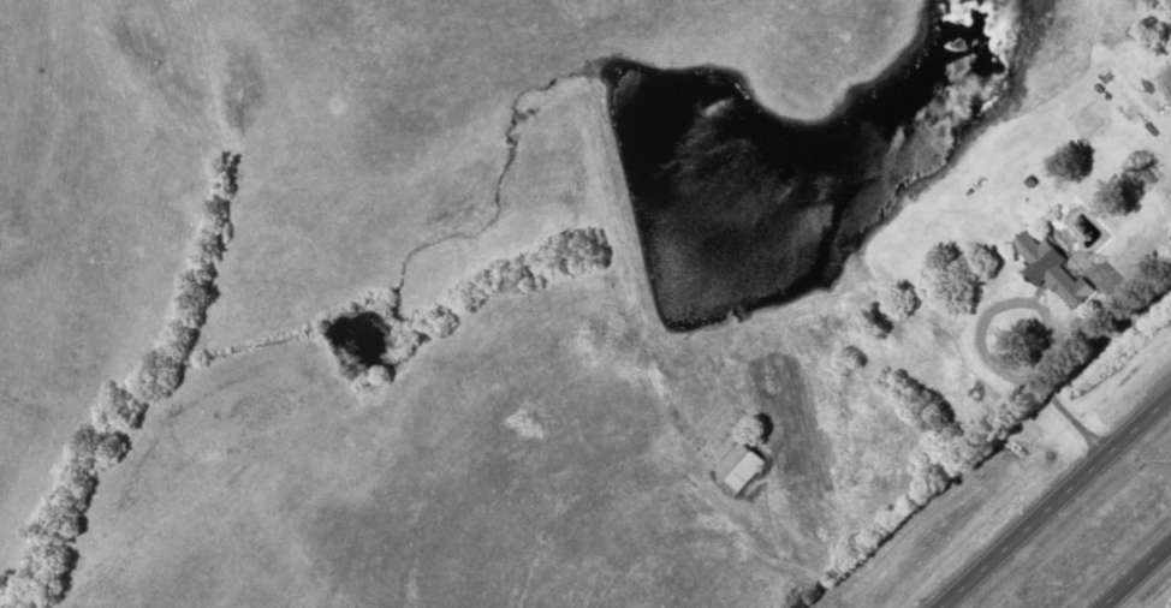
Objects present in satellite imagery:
building: (1058, 268)
building: (744, 465)
road: (1054, 500)
road: (1134, 574)

